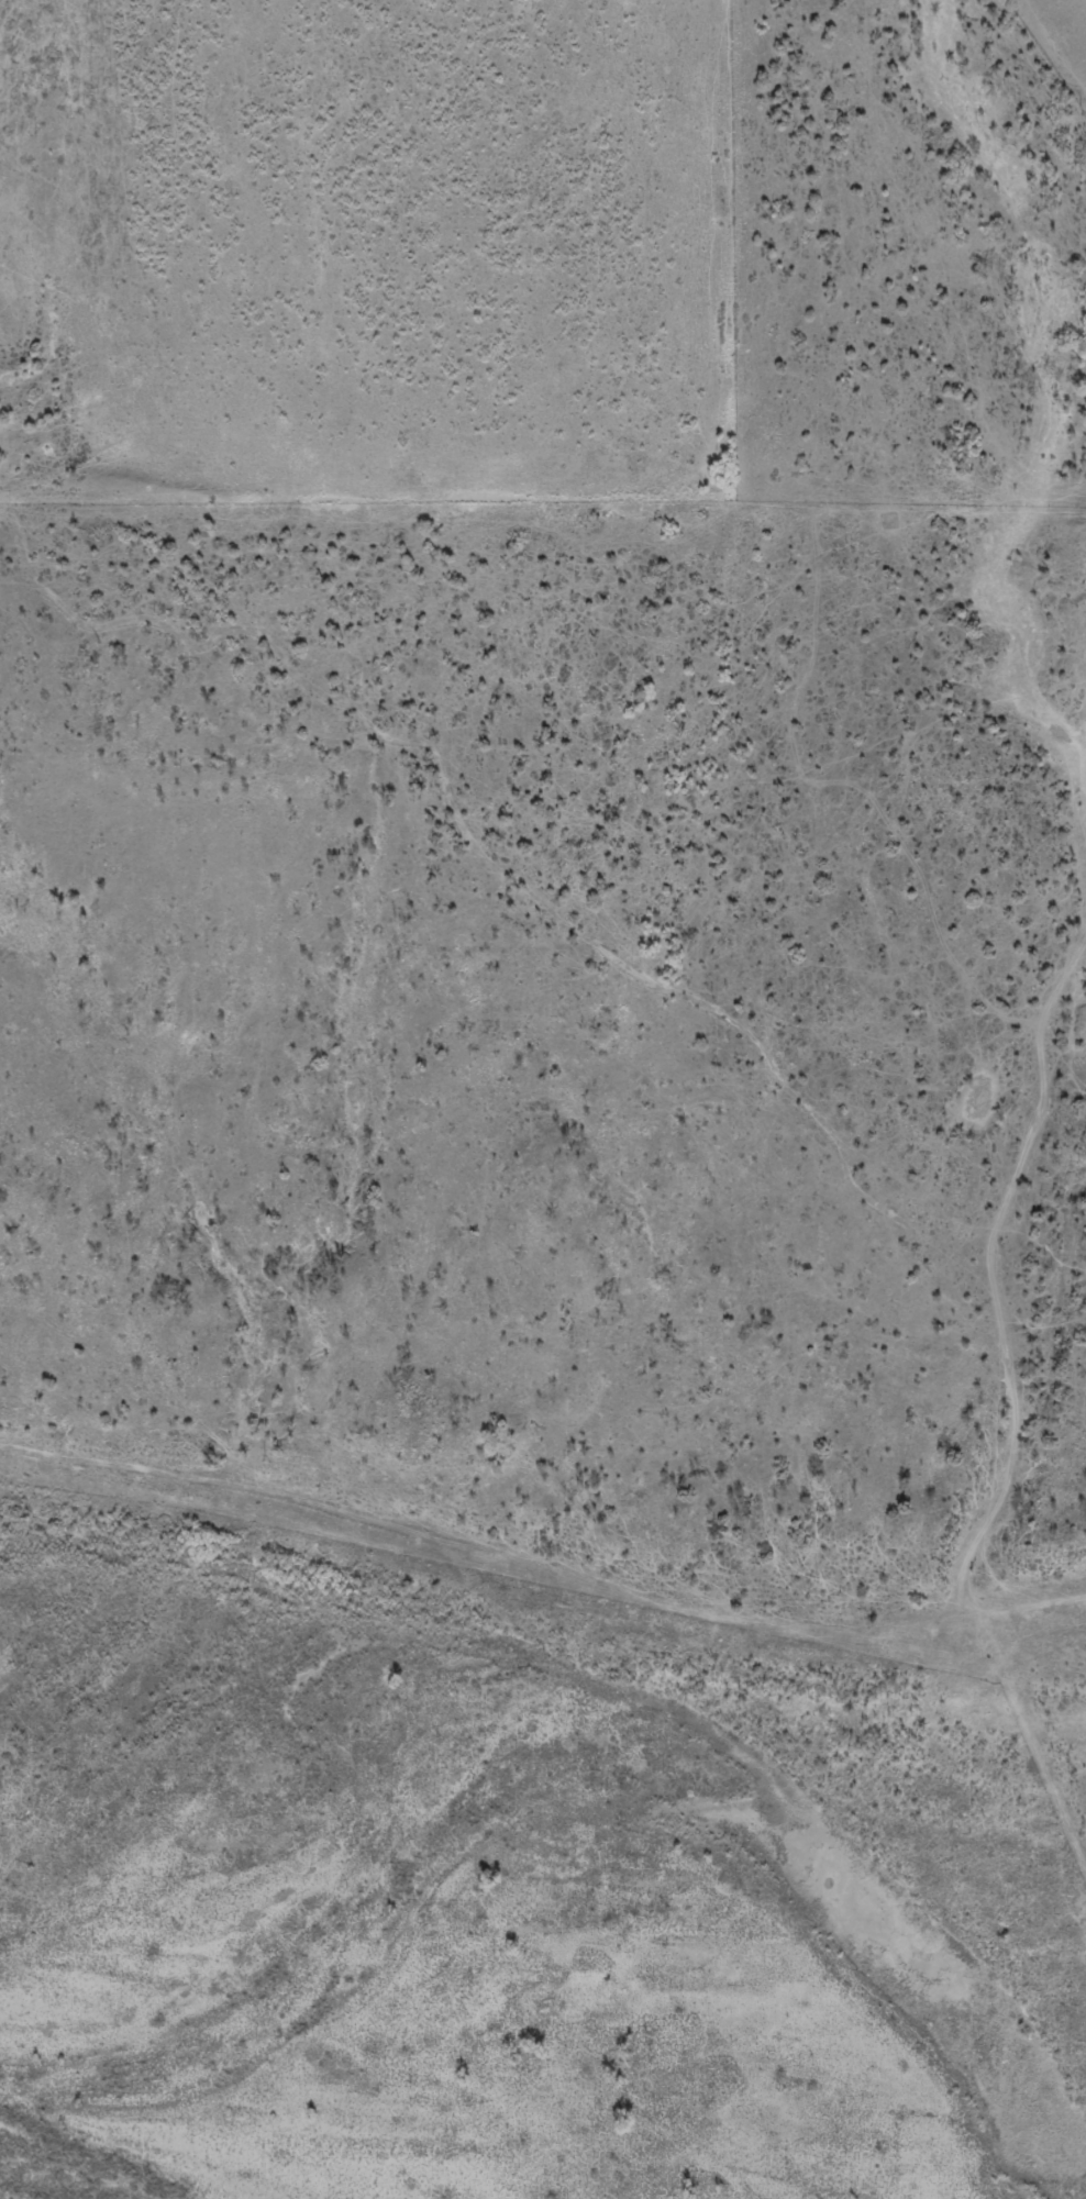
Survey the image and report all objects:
road: (1016, 1406)

